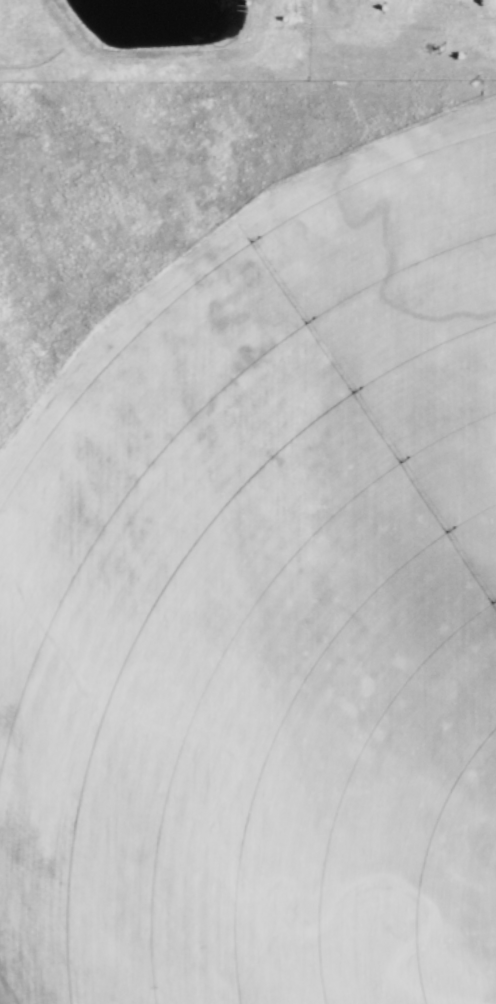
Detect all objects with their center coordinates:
crop: (251, 51)
crop: (247, 553)

